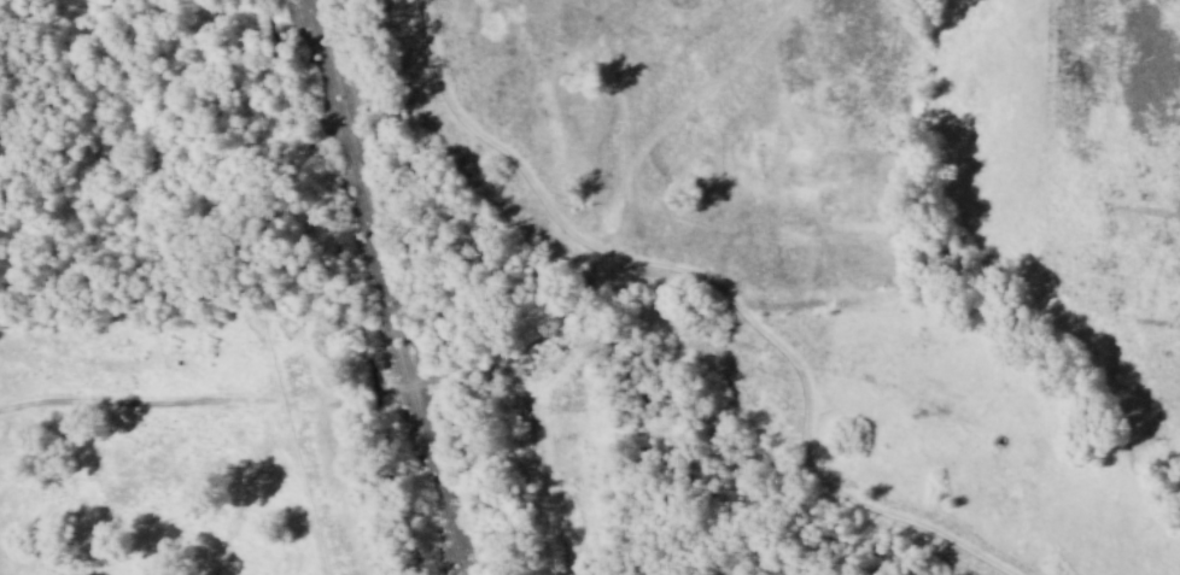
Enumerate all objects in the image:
railway: (369, 287)
railway: (382, 287)
railway: (395, 287)

